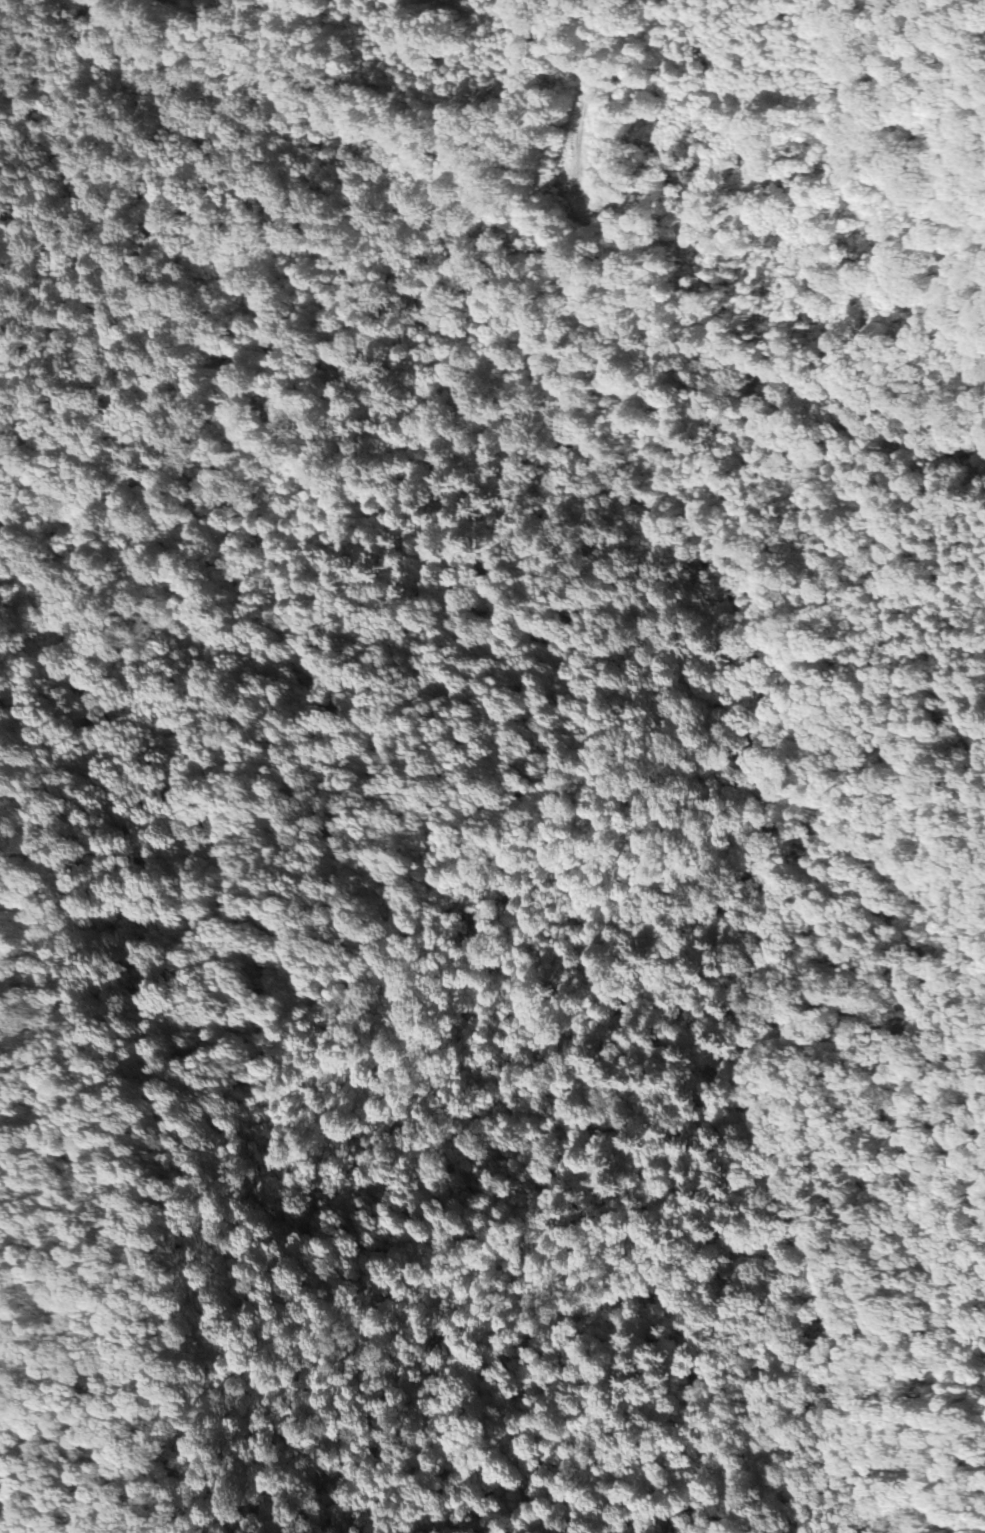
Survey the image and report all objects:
road: (590, 84)

